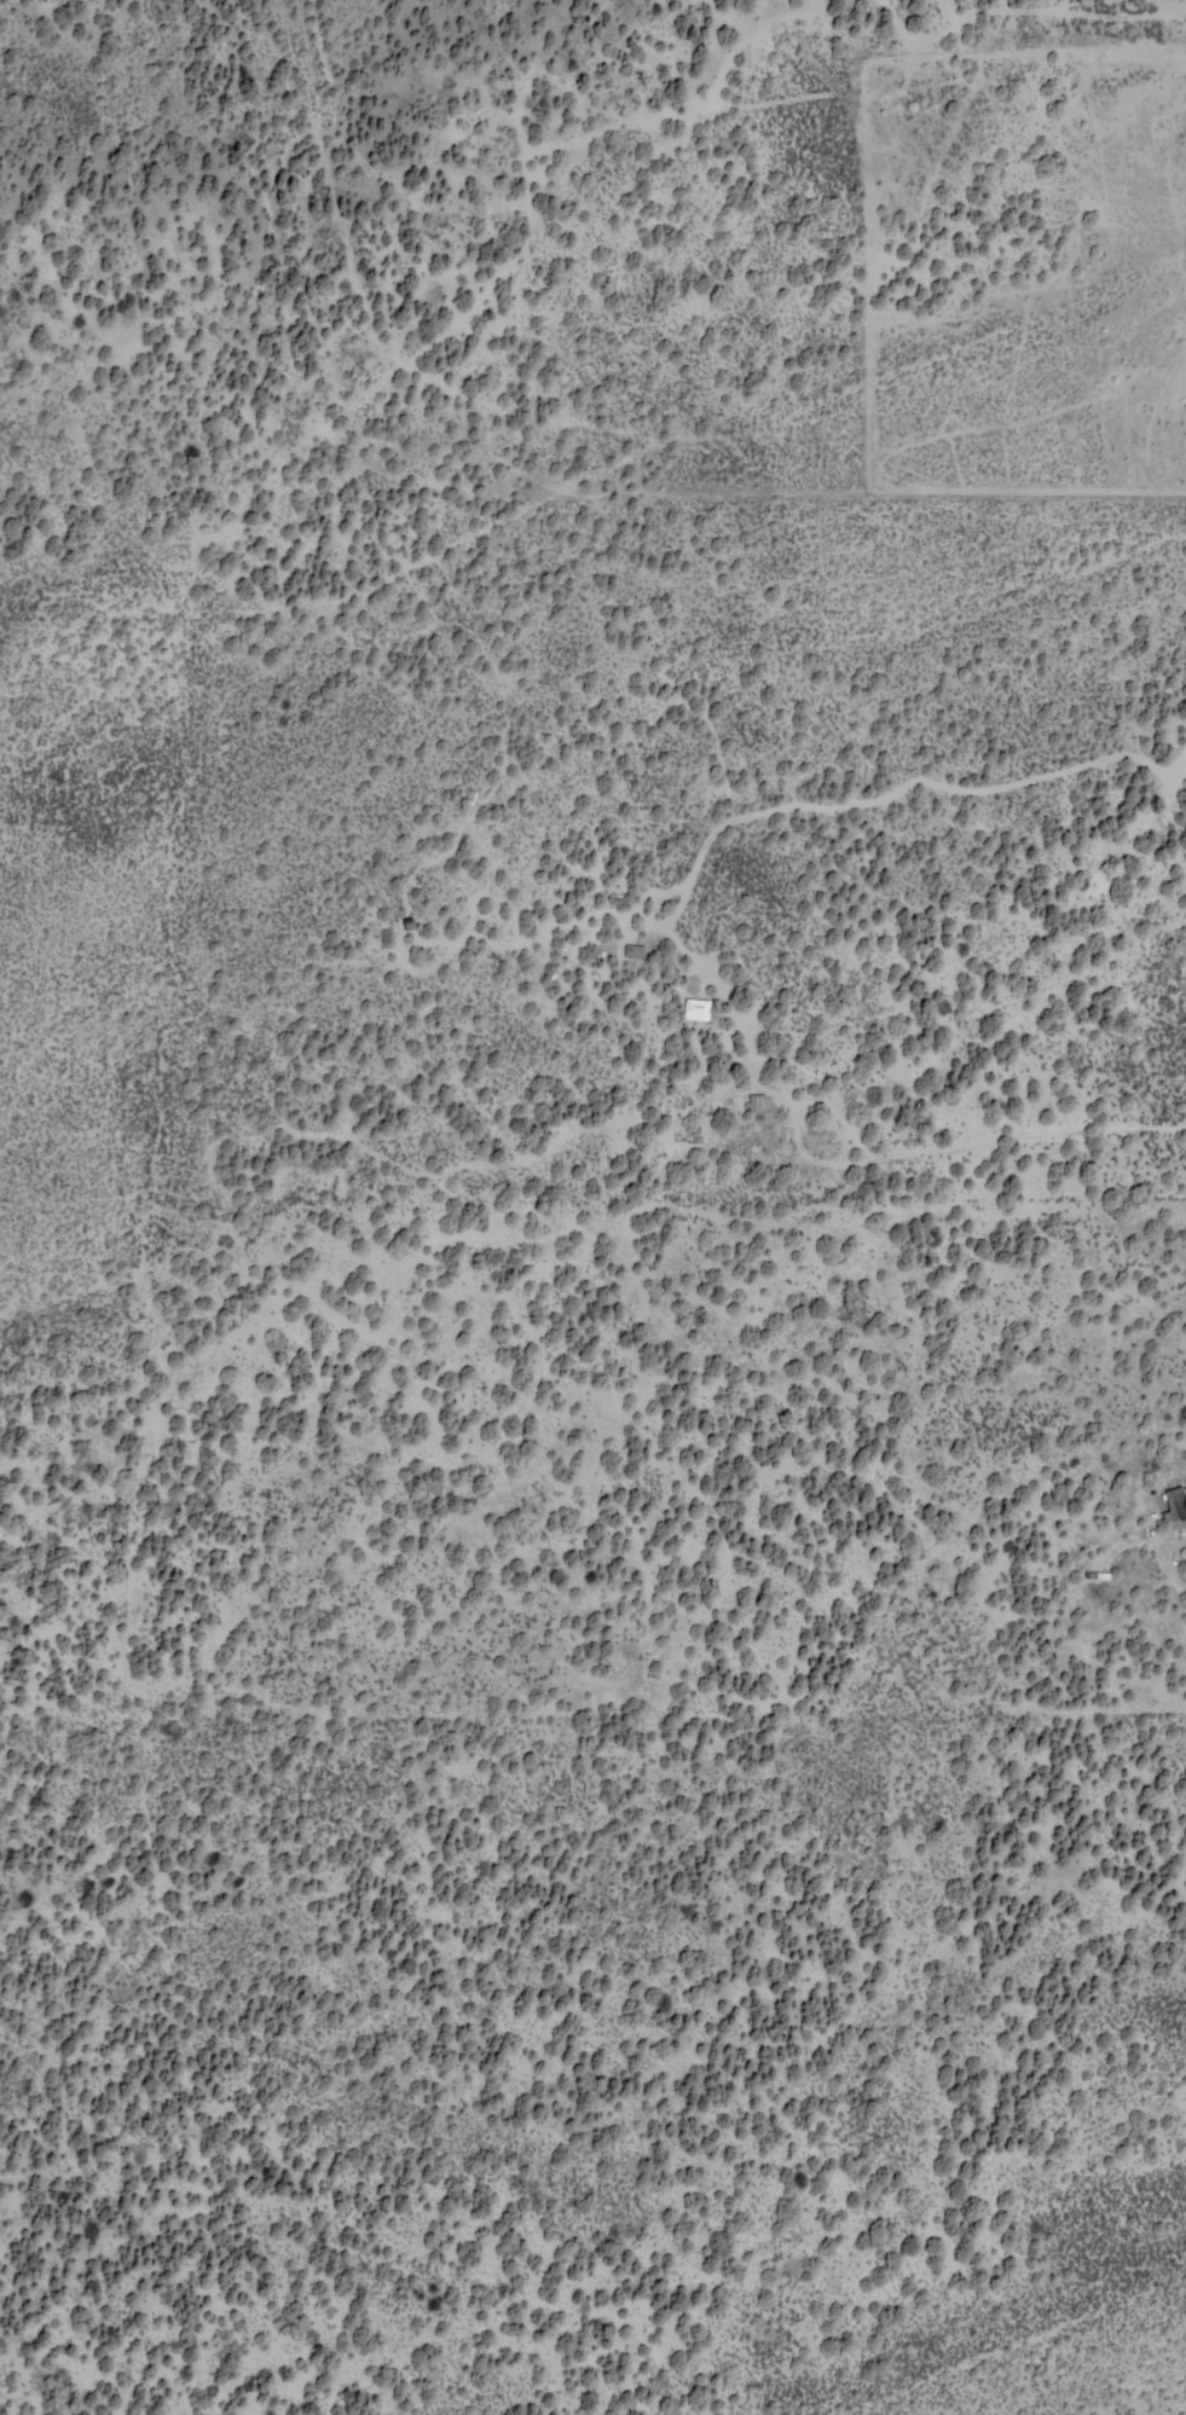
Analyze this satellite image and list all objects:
road: (1069, 978)
building: (696, 1008)
building: (1174, 1501)

